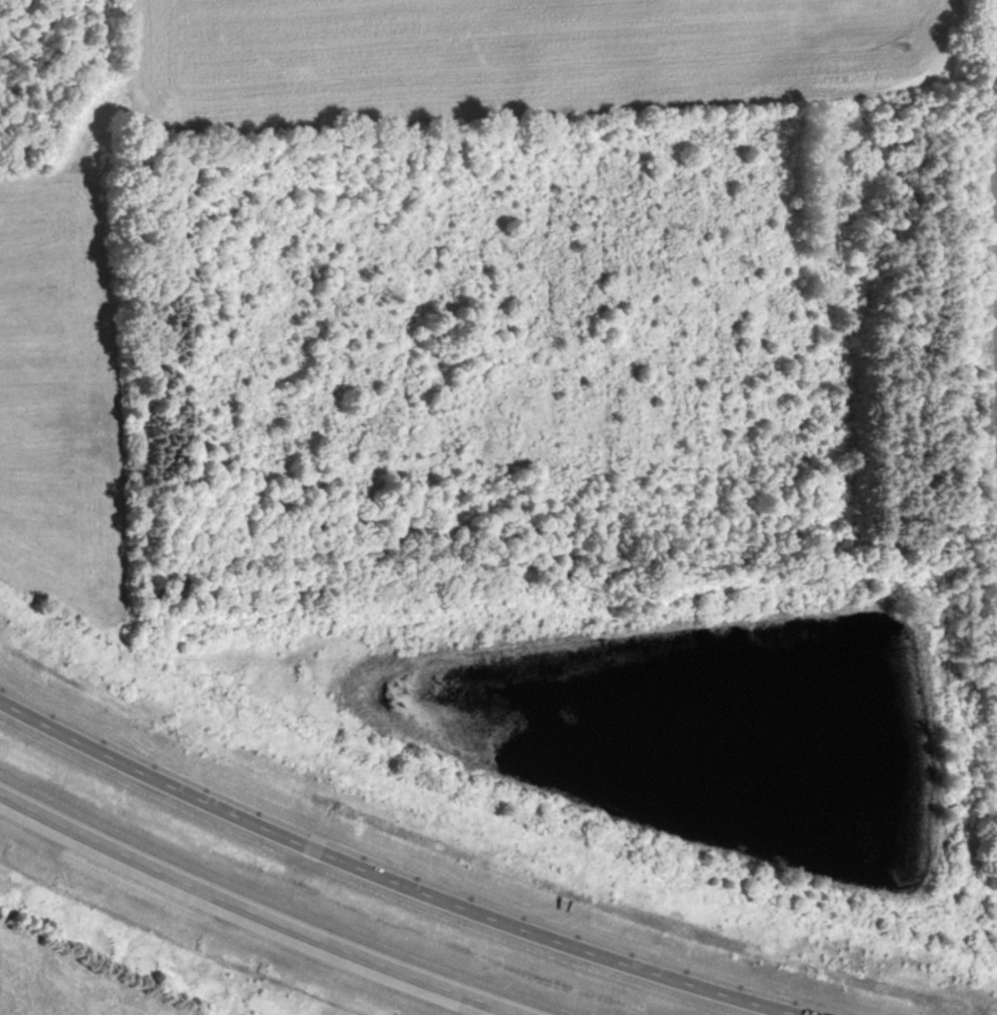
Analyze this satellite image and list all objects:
road: (389, 878)
road: (256, 913)

